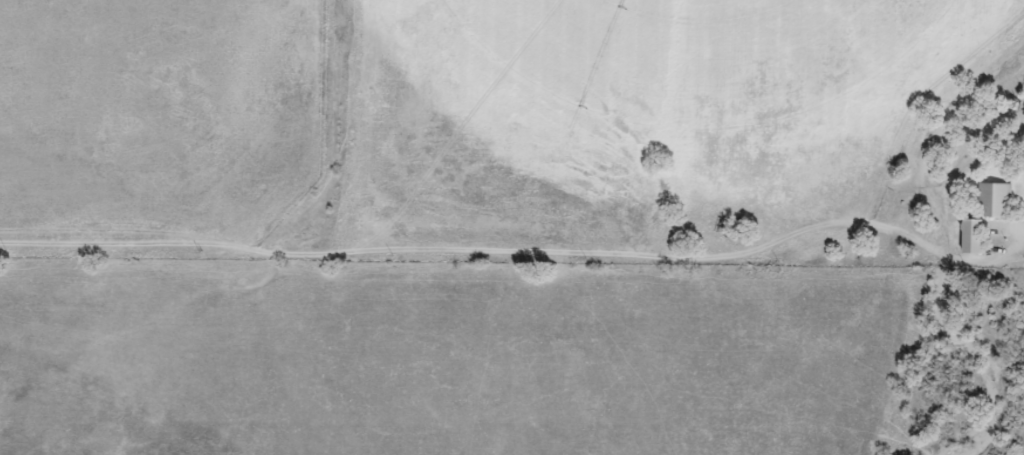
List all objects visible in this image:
building: (985, 217)
road: (887, 240)

